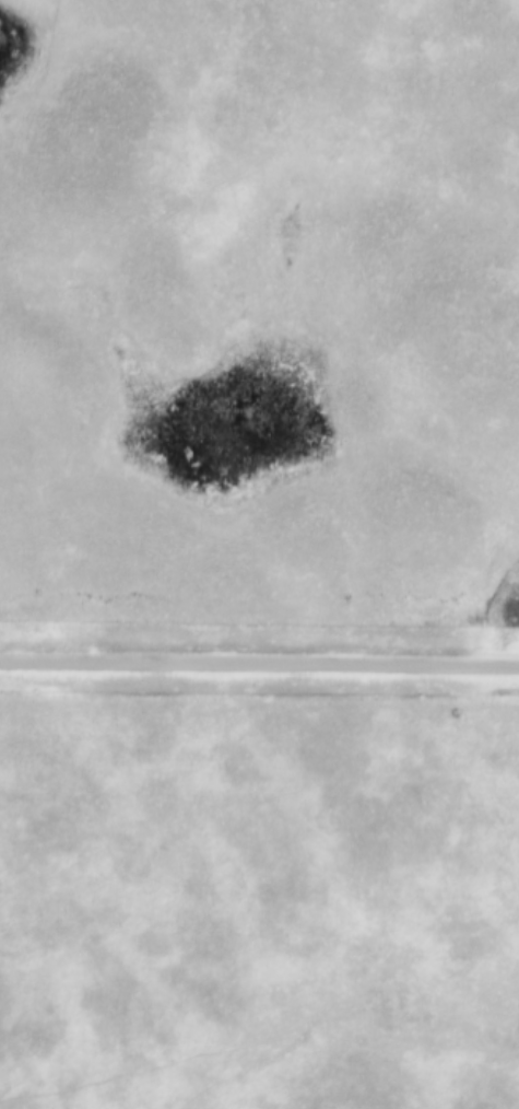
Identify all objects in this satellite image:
road: (259, 664)

